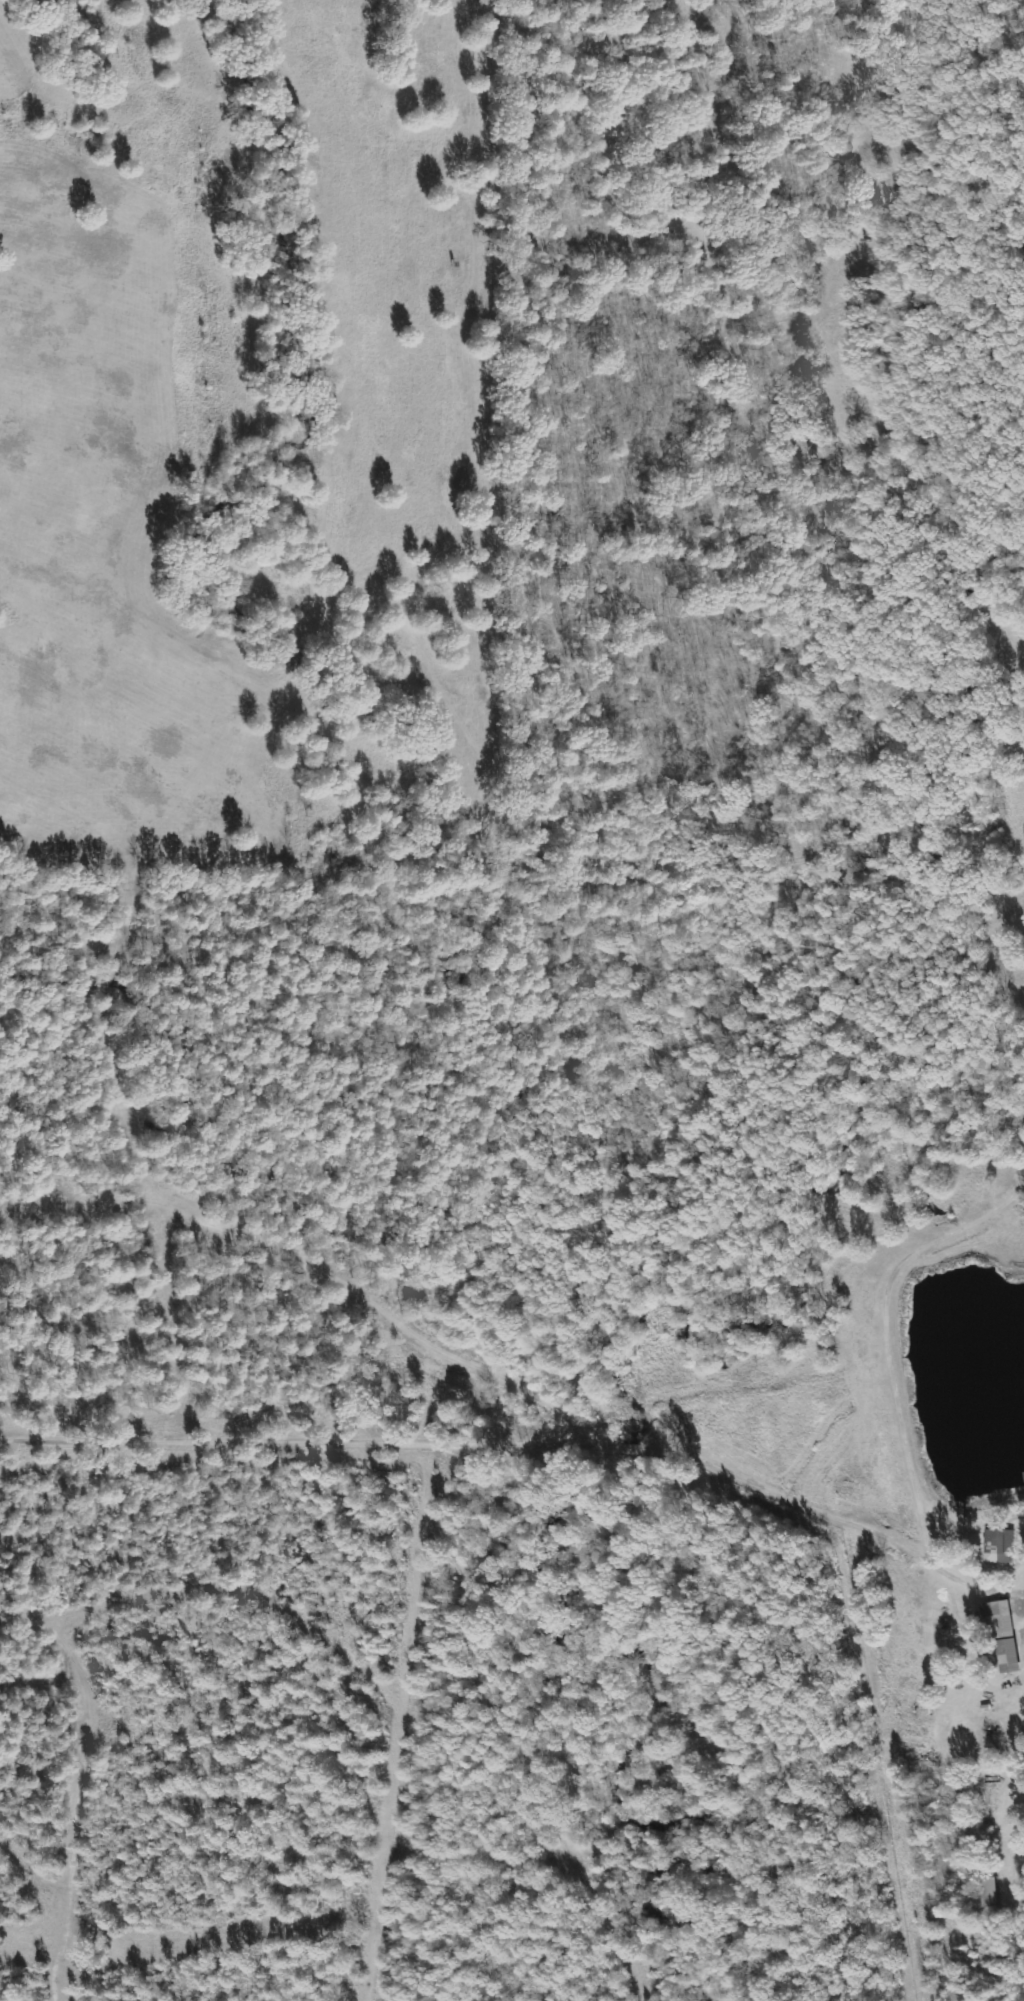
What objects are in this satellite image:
building: (1001, 1545)
building: (1006, 1633)
building: (993, 1891)

